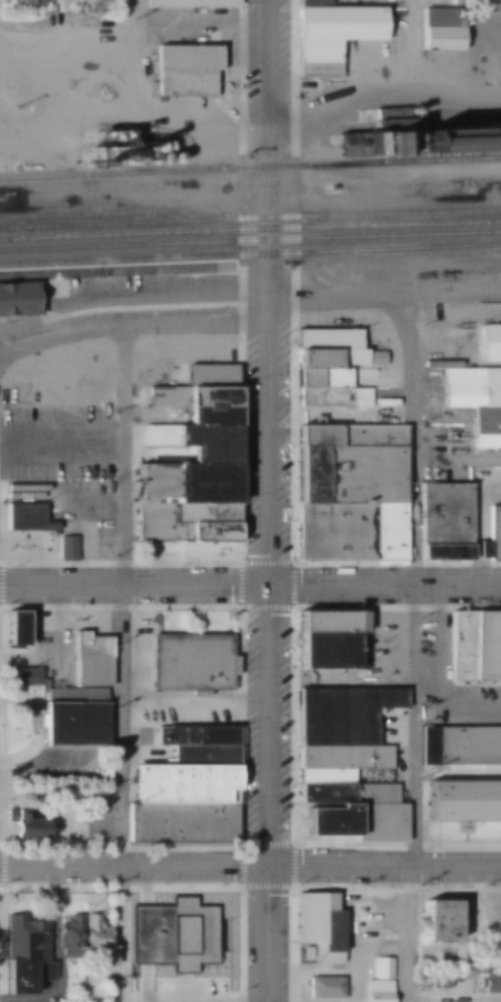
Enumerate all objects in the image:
building: (29, 3)
building: (189, 3)
building: (311, 3)
building: (485, 5)
building: (337, 23)
building: (437, 30)
road: (410, 40)
road: (134, 47)
building: (314, 52)
building: (184, 70)
building: (314, 71)
road: (385, 80)
road: (7, 114)
building: (488, 137)
silo: (488, 137)
building: (107, 139)
building: (442, 142)
building: (404, 143)
building: (374, 144)
building: (343, 145)
building: (144, 148)
building: (101, 157)
building: (167, 159)
silo: (167, 159)
building: (131, 160)
silo: (131, 160)
building: (143, 160)
silo: (143, 160)
building: (156, 160)
silo: (156, 160)
railway: (250, 166)
railway: (92, 213)
railway: (250, 218)
railway: (250, 229)
railway: (250, 239)
railway: (250, 254)
railway: (236, 266)
road: (384, 292)
building: (19, 298)
road: (133, 328)
building: (325, 339)
building: (489, 343)
building: (338, 359)
building: (207, 376)
building: (321, 378)
building: (471, 387)
building: (331, 397)
building: (190, 398)
building: (207, 417)
building: (485, 427)
parking lot: (64, 432)
building: (348, 436)
road: (62, 443)
building: (188, 445)
building: (348, 474)
building: (183, 484)
building: (23, 491)
road: (267, 500)
road: (94, 506)
building: (26, 517)
building: (183, 522)
building: (442, 522)
building: (348, 531)
building: (491, 536)
building: (67, 548)
road: (414, 579)
road: (133, 586)
road: (384, 586)
building: (321, 623)
building: (364, 623)
building: (17, 629)
building: (476, 646)
building: (321, 651)
building: (91, 660)
building: (192, 662)
building: (359, 663)
road: (123, 665)
building: (23, 677)
building: (339, 714)
building: (74, 723)
building: (197, 733)
building: (460, 745)
building: (206, 754)
building: (341, 757)
building: (322, 776)
building: (187, 782)
building: (344, 794)
building: (464, 801)
building: (183, 818)
building: (325, 820)
building: (377, 823)
building: (27, 826)
road: (134, 868)
road: (385, 868)
building: (436, 921)
building: (316, 926)
building: (68, 933)
building: (174, 934)
road: (412, 934)
building: (95, 941)
building: (302, 953)
building: (22, 955)
building: (443, 980)
building: (490, 981)
building: (378, 982)
parking lot: (176, 987)
building: (323, 987)

